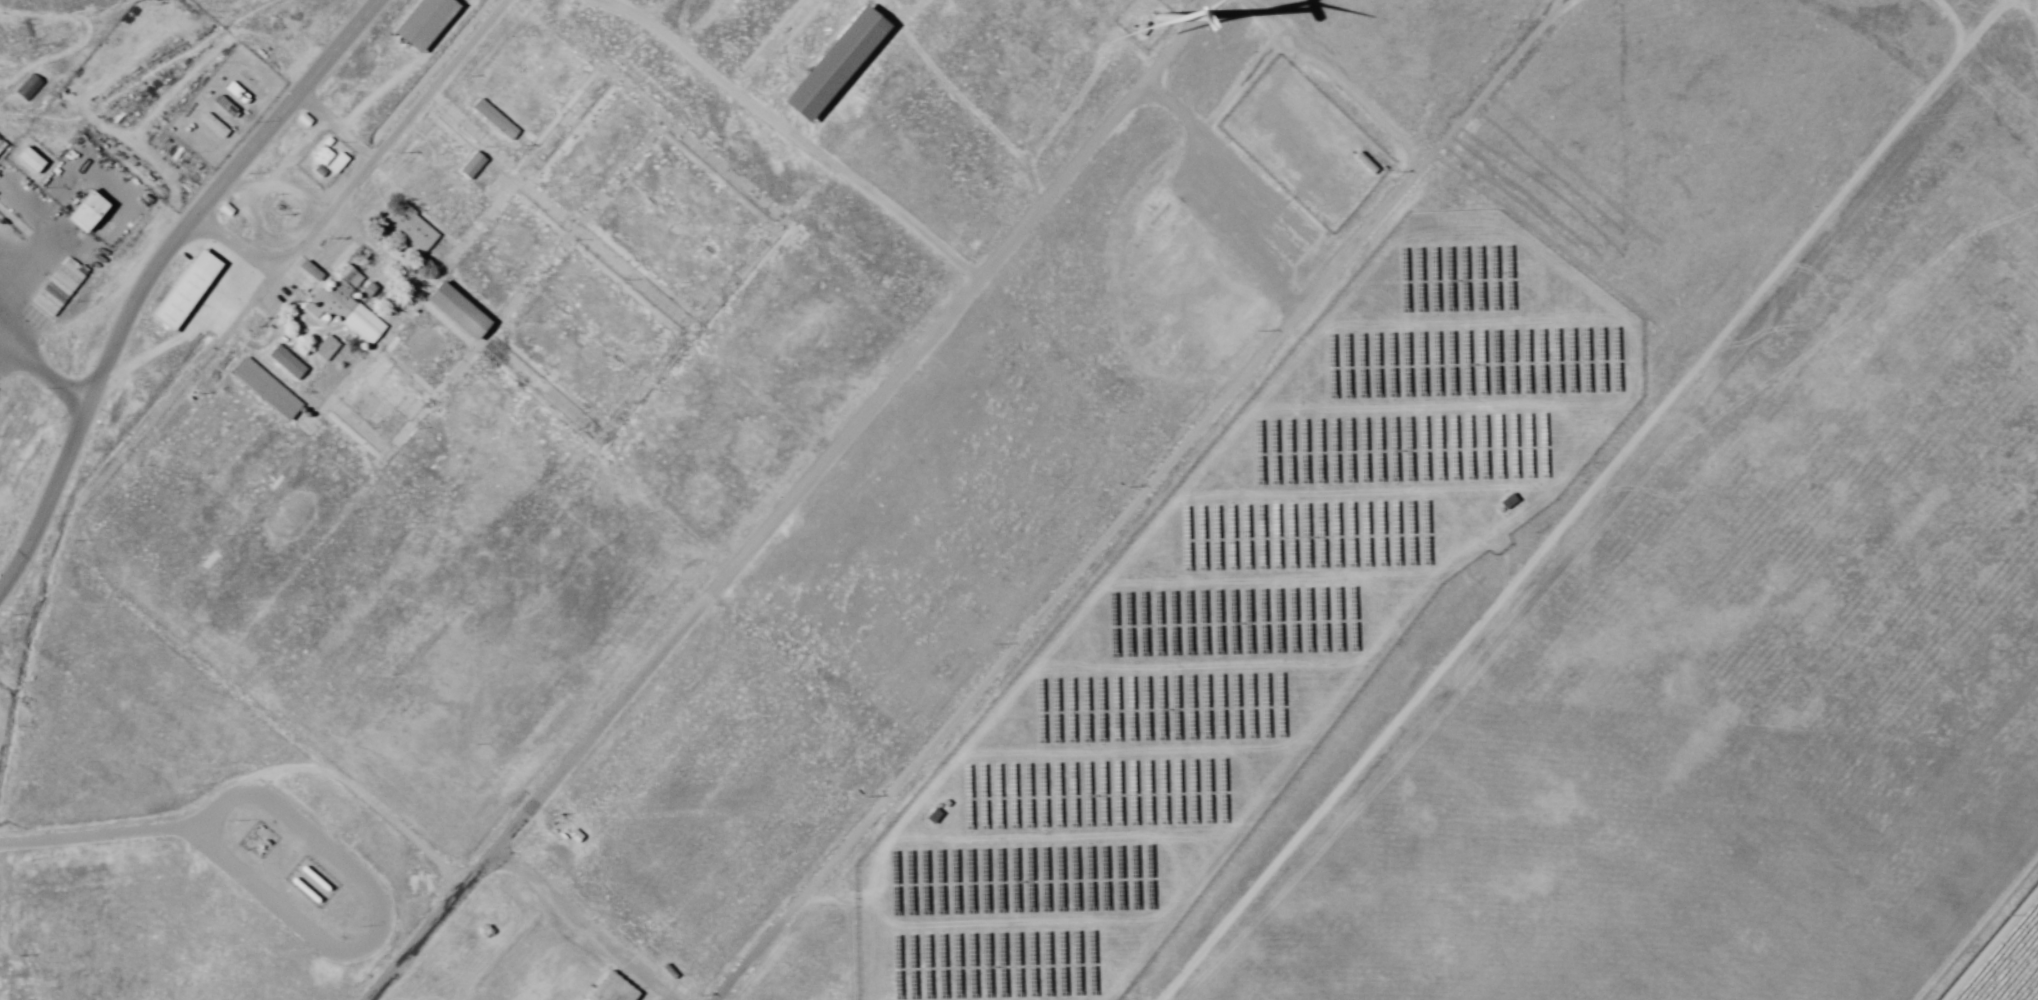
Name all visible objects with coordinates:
building: (422, 22)
wind turbine: (1153, 23)
building: (832, 63)
building: (220, 102)
building: (494, 119)
building: (214, 125)
building: (0, 147)
building: (322, 155)
building: (27, 159)
building: (1364, 162)
building: (337, 163)
building: (471, 166)
building: (84, 211)
building: (410, 229)
road: (150, 271)
building: (348, 276)
building: (184, 289)
building: (368, 290)
building: (456, 308)
building: (362, 323)
building: (285, 361)
building: (265, 388)
road: (790, 499)
road: (1580, 500)
building: (568, 836)
road: (1974, 924)
road: (1990, 944)
crop: (2005, 961)
building: (611, 989)

